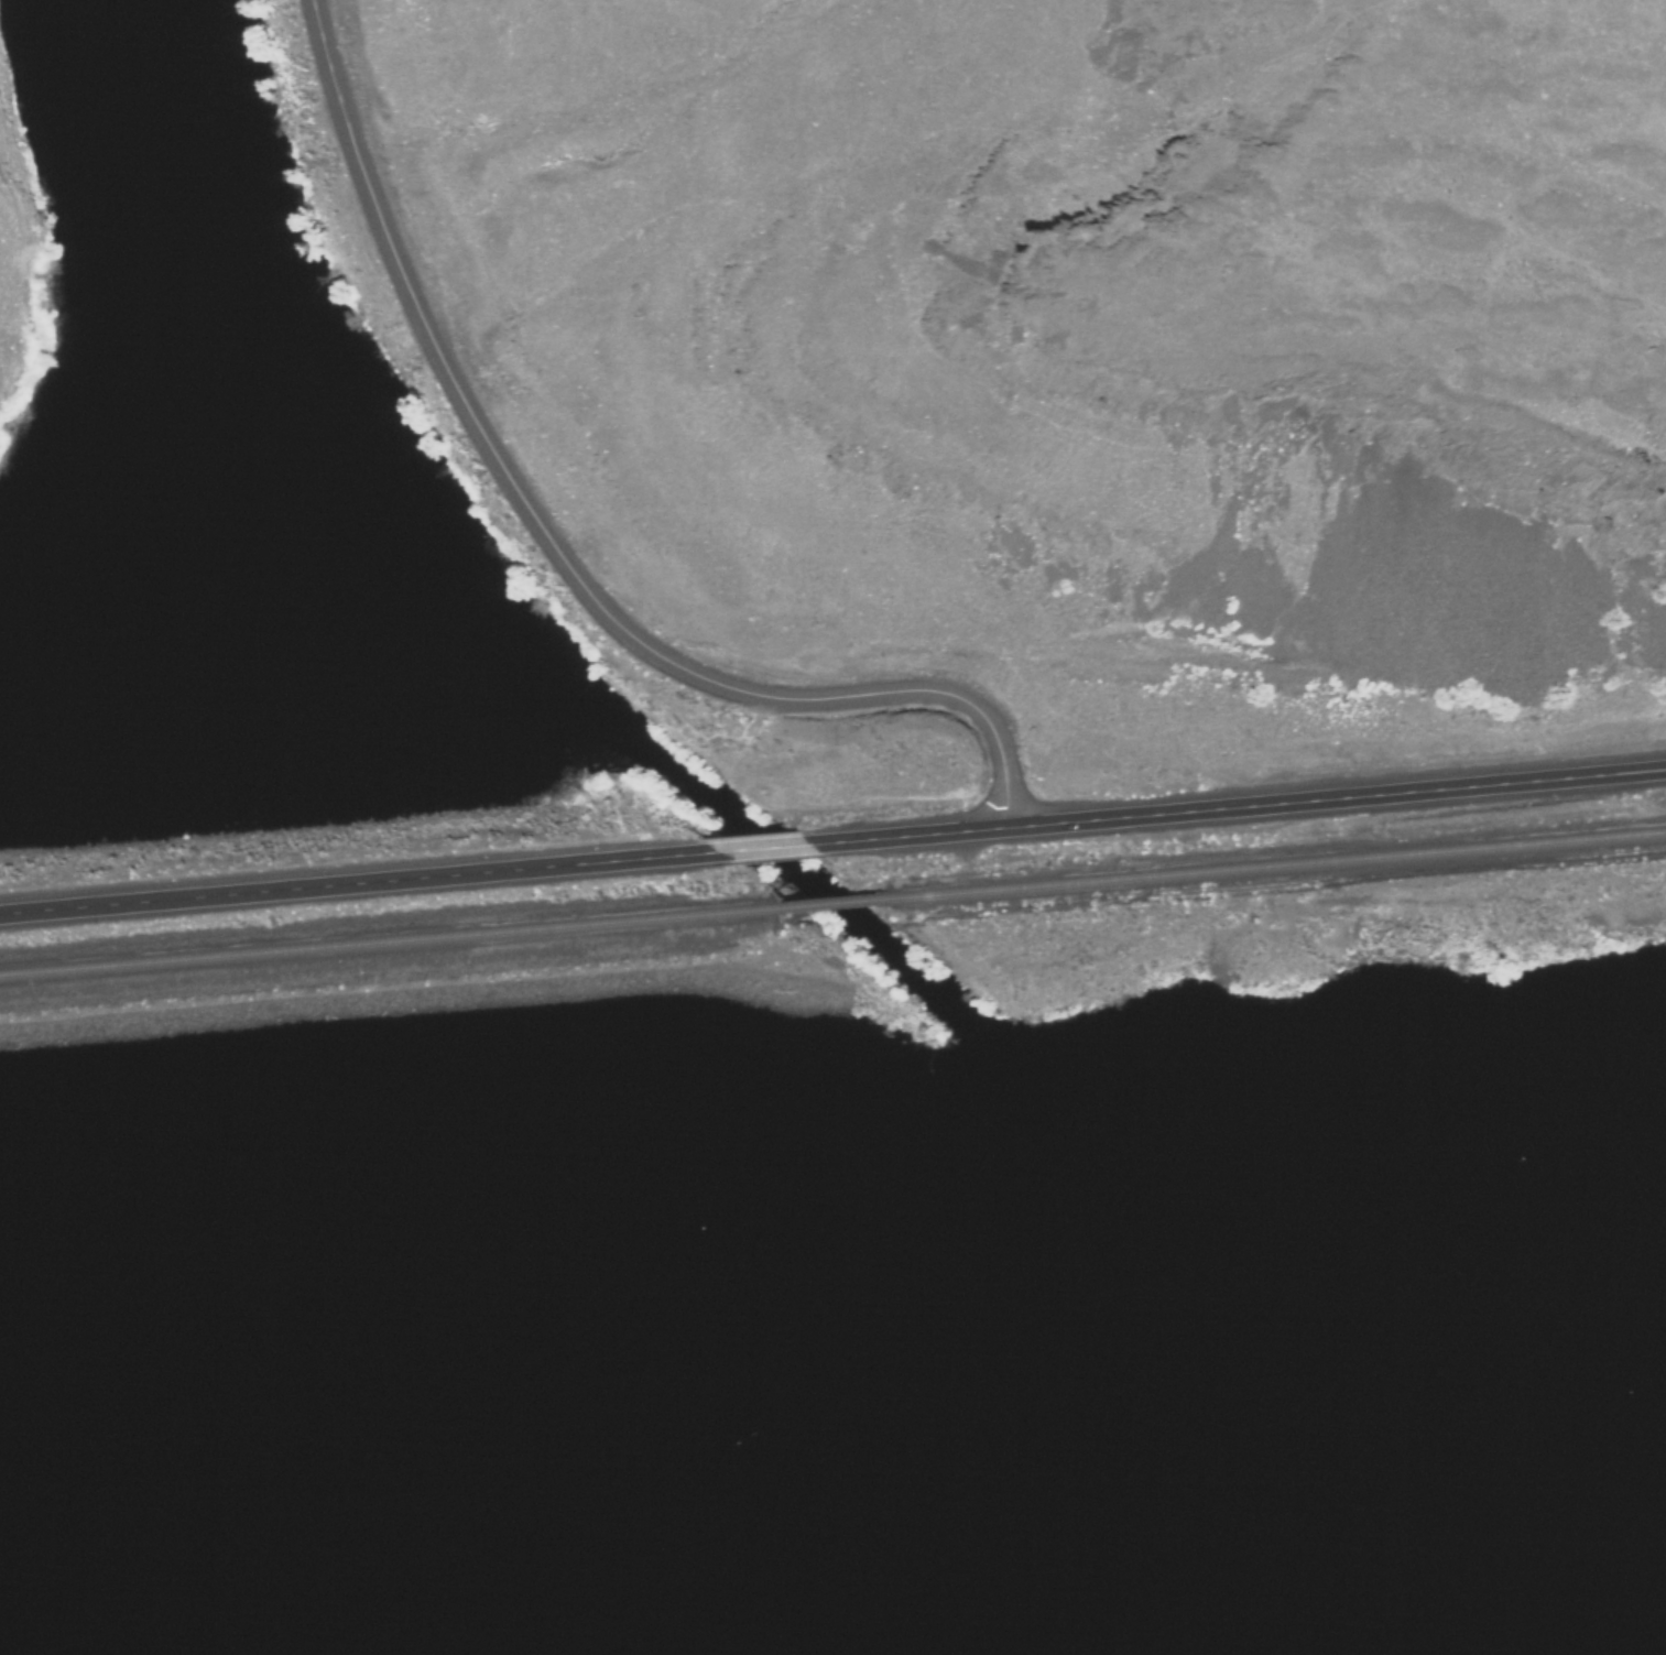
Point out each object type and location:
road: (554, 547)
road: (1238, 805)
road: (759, 845)
railway: (1271, 865)
road: (353, 880)
railway: (825, 904)
railway: (386, 940)

